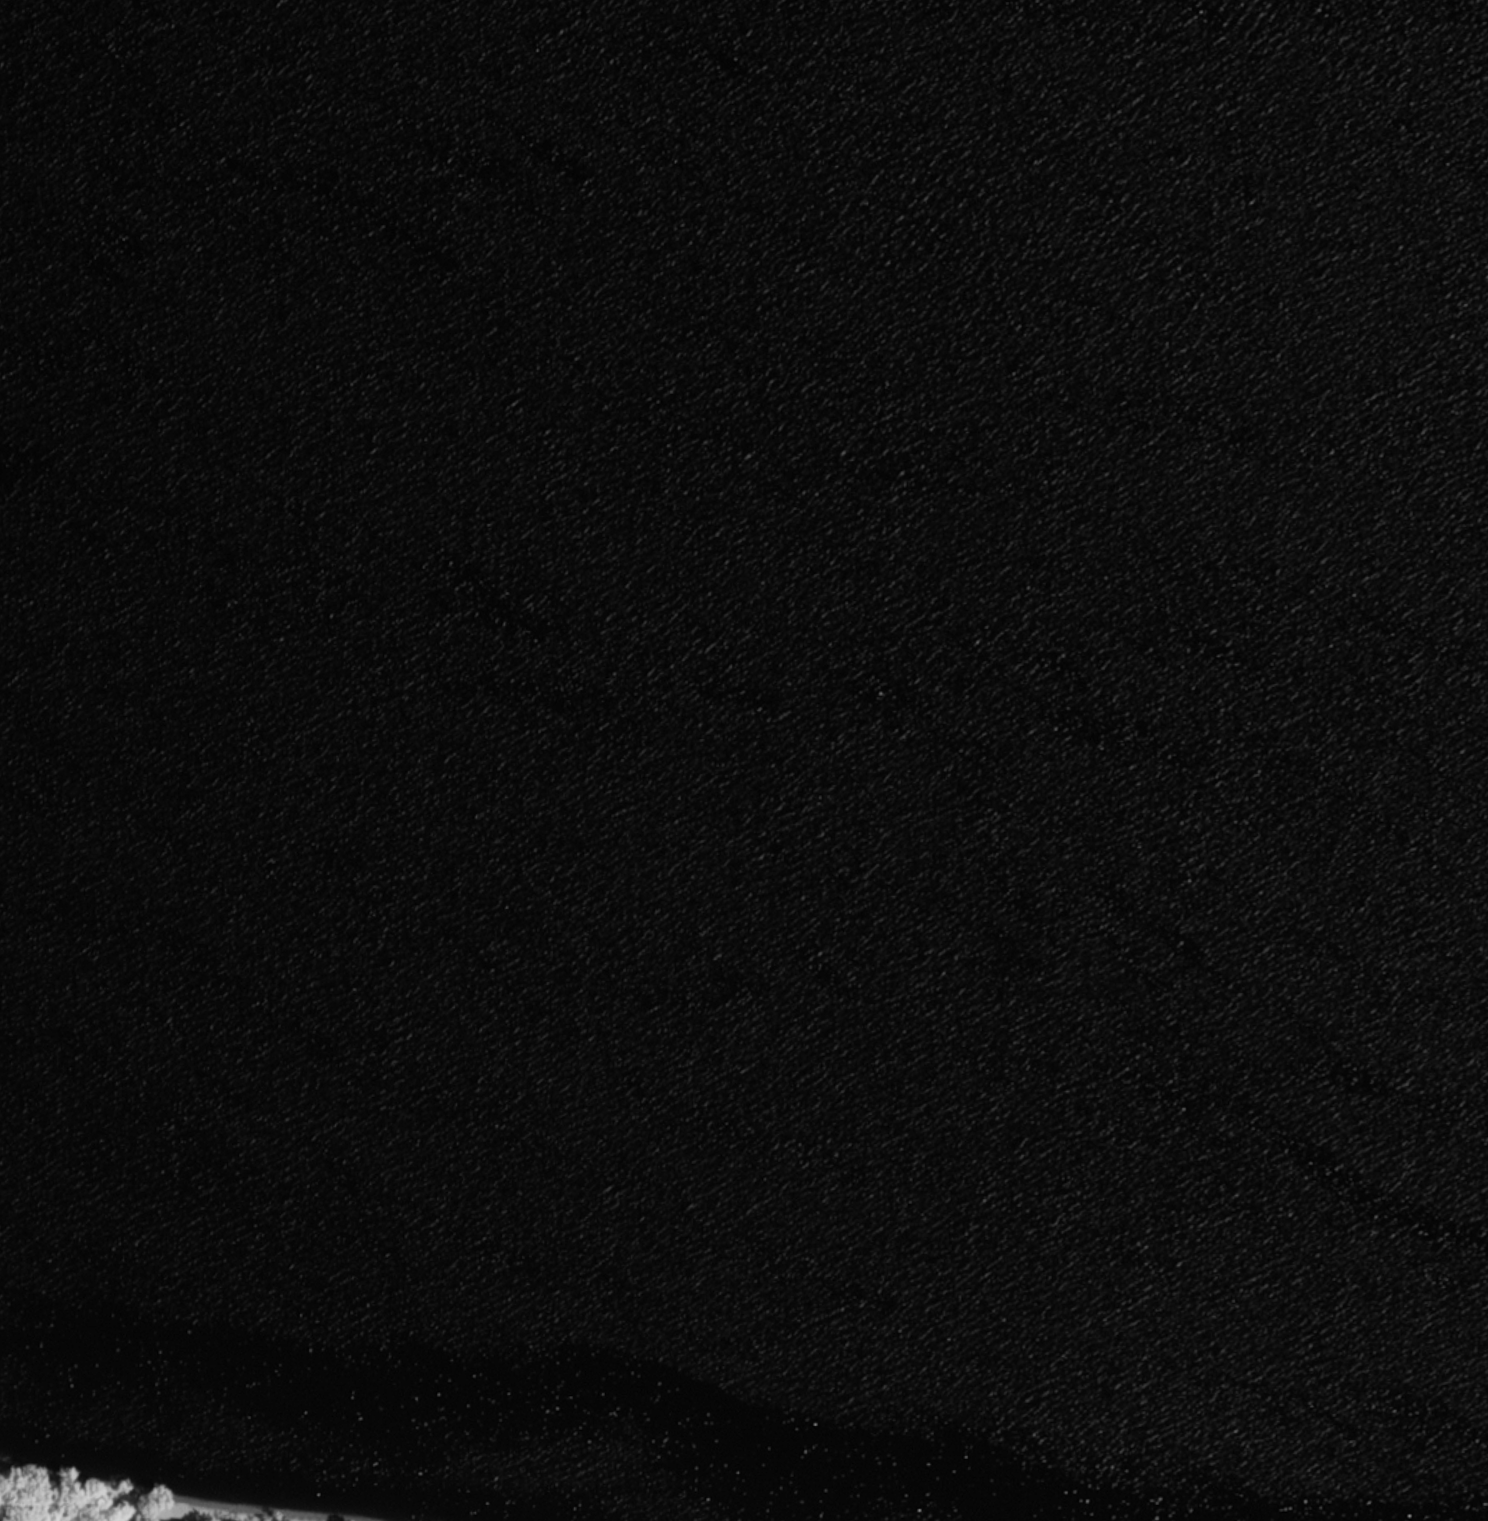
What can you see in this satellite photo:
road: (122, 1511)

